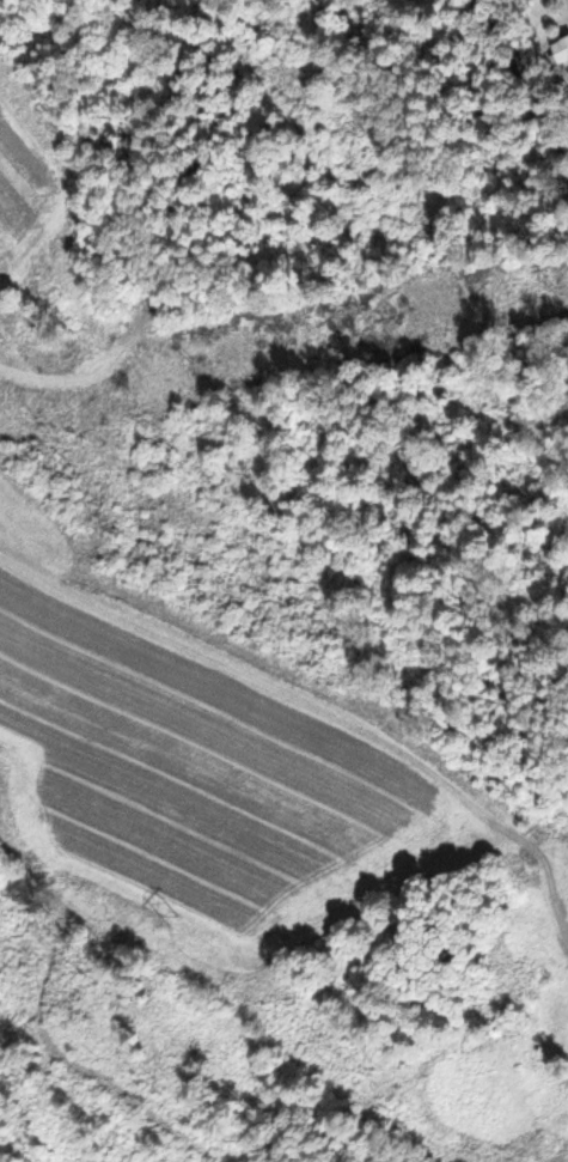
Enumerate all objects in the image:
building: (562, 53)
power tower: (514, 300)
power tower: (194, 358)
road: (513, 902)

